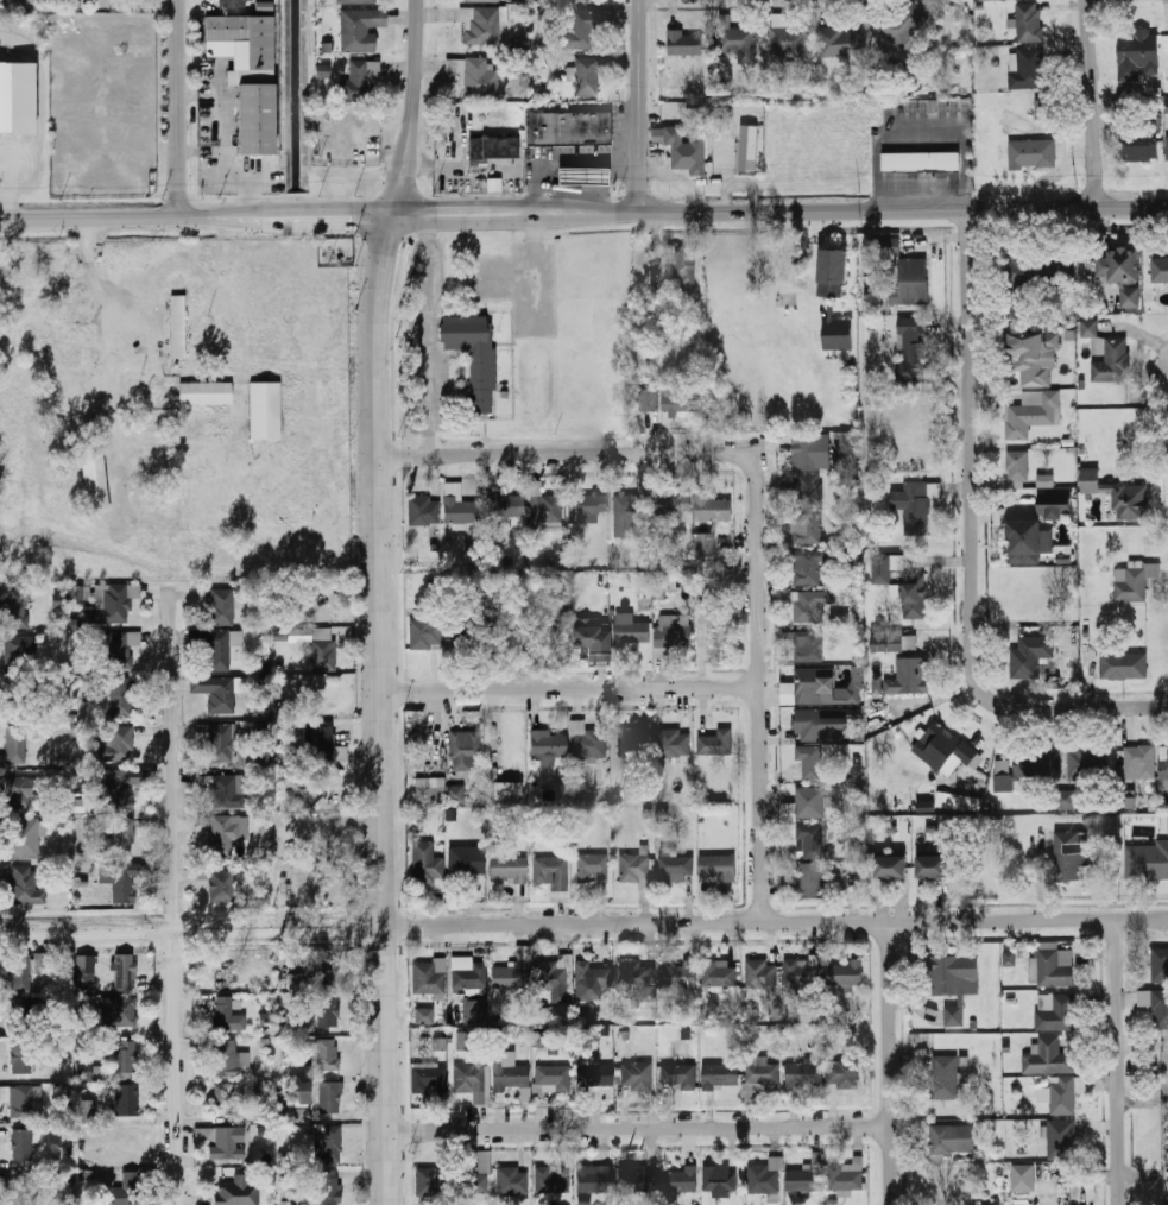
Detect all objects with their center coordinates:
building: (11, 0)
building: (482, 0)
building: (586, 0)
building: (359, 1)
building: (229, 4)
building: (902, 21)
building: (1029, 23)
building: (480, 26)
building: (581, 29)
building: (356, 31)
building: (788, 39)
building: (845, 42)
building: (684, 43)
building: (739, 43)
building: (1130, 63)
building: (1027, 68)
building: (247, 75)
building: (587, 75)
building: (480, 78)
building: (356, 83)
building: (17, 97)
road: (1088, 103)
road: (638, 107)
building: (1042, 108)
road: (179, 109)
road: (412, 109)
building: (570, 131)
building: (1167, 141)
building: (1138, 145)
building: (492, 147)
building: (747, 147)
building: (686, 149)
building: (1031, 153)
road: (563, 163)
building: (924, 164)
building: (582, 176)
road: (602, 189)
road: (10, 198)
road: (860, 210)
road: (472, 215)
road: (327, 217)
road: (131, 220)
building: (884, 246)
building: (686, 267)
road: (379, 269)
building: (1160, 270)
building: (1061, 271)
building: (1120, 273)
building: (910, 282)
building: (1018, 282)
building: (826, 309)
road: (1135, 326)
building: (178, 327)
building: (1088, 328)
road: (428, 336)
building: (911, 349)
building: (473, 355)
building: (1031, 357)
building: (1109, 359)
building: (204, 393)
building: (649, 399)
building: (681, 404)
building: (265, 411)
building: (1030, 414)
building: (848, 449)
building: (812, 450)
road: (561, 454)
building: (1019, 467)
building: (94, 479)
road: (971, 479)
building: (1044, 480)
building: (806, 488)
building: (1130, 501)
building: (457, 504)
building: (671, 504)
building: (1054, 505)
building: (504, 506)
building: (913, 506)
building: (588, 507)
building: (713, 507)
building: (545, 509)
building: (423, 511)
building: (626, 516)
building: (806, 529)
building: (1024, 542)
building: (706, 544)
building: (806, 567)
building: (884, 567)
building: (665, 583)
building: (1130, 585)
building: (86, 594)
building: (915, 595)
building: (57, 600)
building: (111, 604)
building: (808, 605)
building: (222, 607)
building: (12, 608)
building: (631, 632)
building: (673, 633)
building: (424, 635)
building: (505, 635)
building: (543, 636)
building: (591, 641)
building: (894, 643)
building: (211, 646)
building: (808, 646)
building: (20, 649)
building: (120, 649)
building: (323, 649)
building: (1029, 656)
building: (1122, 664)
building: (909, 676)
building: (808, 686)
building: (852, 687)
road: (756, 689)
road: (567, 692)
building: (216, 693)
building: (121, 698)
road: (1100, 708)
building: (822, 725)
building: (321, 739)
building: (588, 739)
building: (632, 742)
building: (221, 743)
building: (674, 743)
building: (715, 743)
building: (15, 744)
building: (116, 744)
building: (549, 744)
building: (946, 749)
building: (466, 750)
building: (254, 756)
building: (810, 762)
building: (1138, 762)
road: (378, 763)
building: (1163, 763)
building: (1086, 764)
building: (1003, 768)
building: (120, 788)
building: (423, 789)
building: (227, 791)
building: (509, 791)
building: (19, 793)
building: (1066, 799)
building: (958, 801)
building: (809, 802)
building: (926, 805)
building: (225, 834)
building: (120, 838)
building: (24, 839)
building: (810, 840)
building: (1067, 856)
building: (463, 859)
building: (1147, 863)
building: (425, 865)
building: (891, 866)
building: (933, 866)
building: (718, 868)
building: (509, 869)
building: (550, 869)
building: (634, 869)
building: (676, 869)
building: (594, 870)
building: (810, 881)
building: (122, 883)
building: (223, 885)
building: (25, 887)
road: (176, 897)
road: (774, 921)
road: (153, 929)
building: (1009, 958)
building: (43, 964)
building: (83, 964)
building: (1055, 965)
building: (1160, 965)
building: (323, 969)
building: (18, 971)
building: (513, 971)
building: (126, 972)
building: (845, 972)
building: (554, 973)
building: (801, 973)
building: (948, 973)
building: (467, 974)
building: (678, 974)
building: (719, 974)
building: (762, 974)
building: (429, 977)
building: (592, 980)
building: (634, 980)
building: (1155, 1004)
building: (328, 1010)
building: (119, 1011)
building: (223, 1012)
building: (474, 1012)
building: (1055, 1012)
building: (751, 1015)
building: (424, 1016)
building: (953, 1016)
building: (265, 1020)
building: (462, 1041)
building: (328, 1056)
building: (21, 1058)
building: (126, 1058)
building: (1048, 1058)
building: (228, 1059)
road: (1118, 1061)
road: (885, 1062)
building: (83, 1071)
building: (509, 1071)
building: (842, 1073)
building: (680, 1074)
building: (762, 1074)
building: (803, 1074)
building: (594, 1075)
building: (637, 1075)
building: (721, 1075)
building: (945, 1077)
building: (553, 1078)
building: (428, 1079)
building: (471, 1080)
building: (487, 1085)
building: (260, 1092)
building: (298, 1093)
building: (329, 1097)
building: (1062, 1097)
building: (130, 1098)
building: (225, 1099)
building: (19, 1100)
building: (87, 1112)
road: (634, 1129)
building: (1061, 1138)
building: (942, 1141)
building: (223, 1142)
building: (23, 1146)
building: (328, 1146)
building: (125, 1152)
building: (846, 1174)
building: (474, 1176)
building: (765, 1176)
building: (594, 1178)
building: (634, 1178)
building: (807, 1178)
building: (1023, 1178)
building: (509, 1180)
building: (550, 1180)
building: (678, 1180)
building: (720, 1180)
building: (430, 1182)
building: (21, 1187)
building: (330, 1187)
building: (238, 1192)
building: (125, 1194)
building: (583, 1199)

